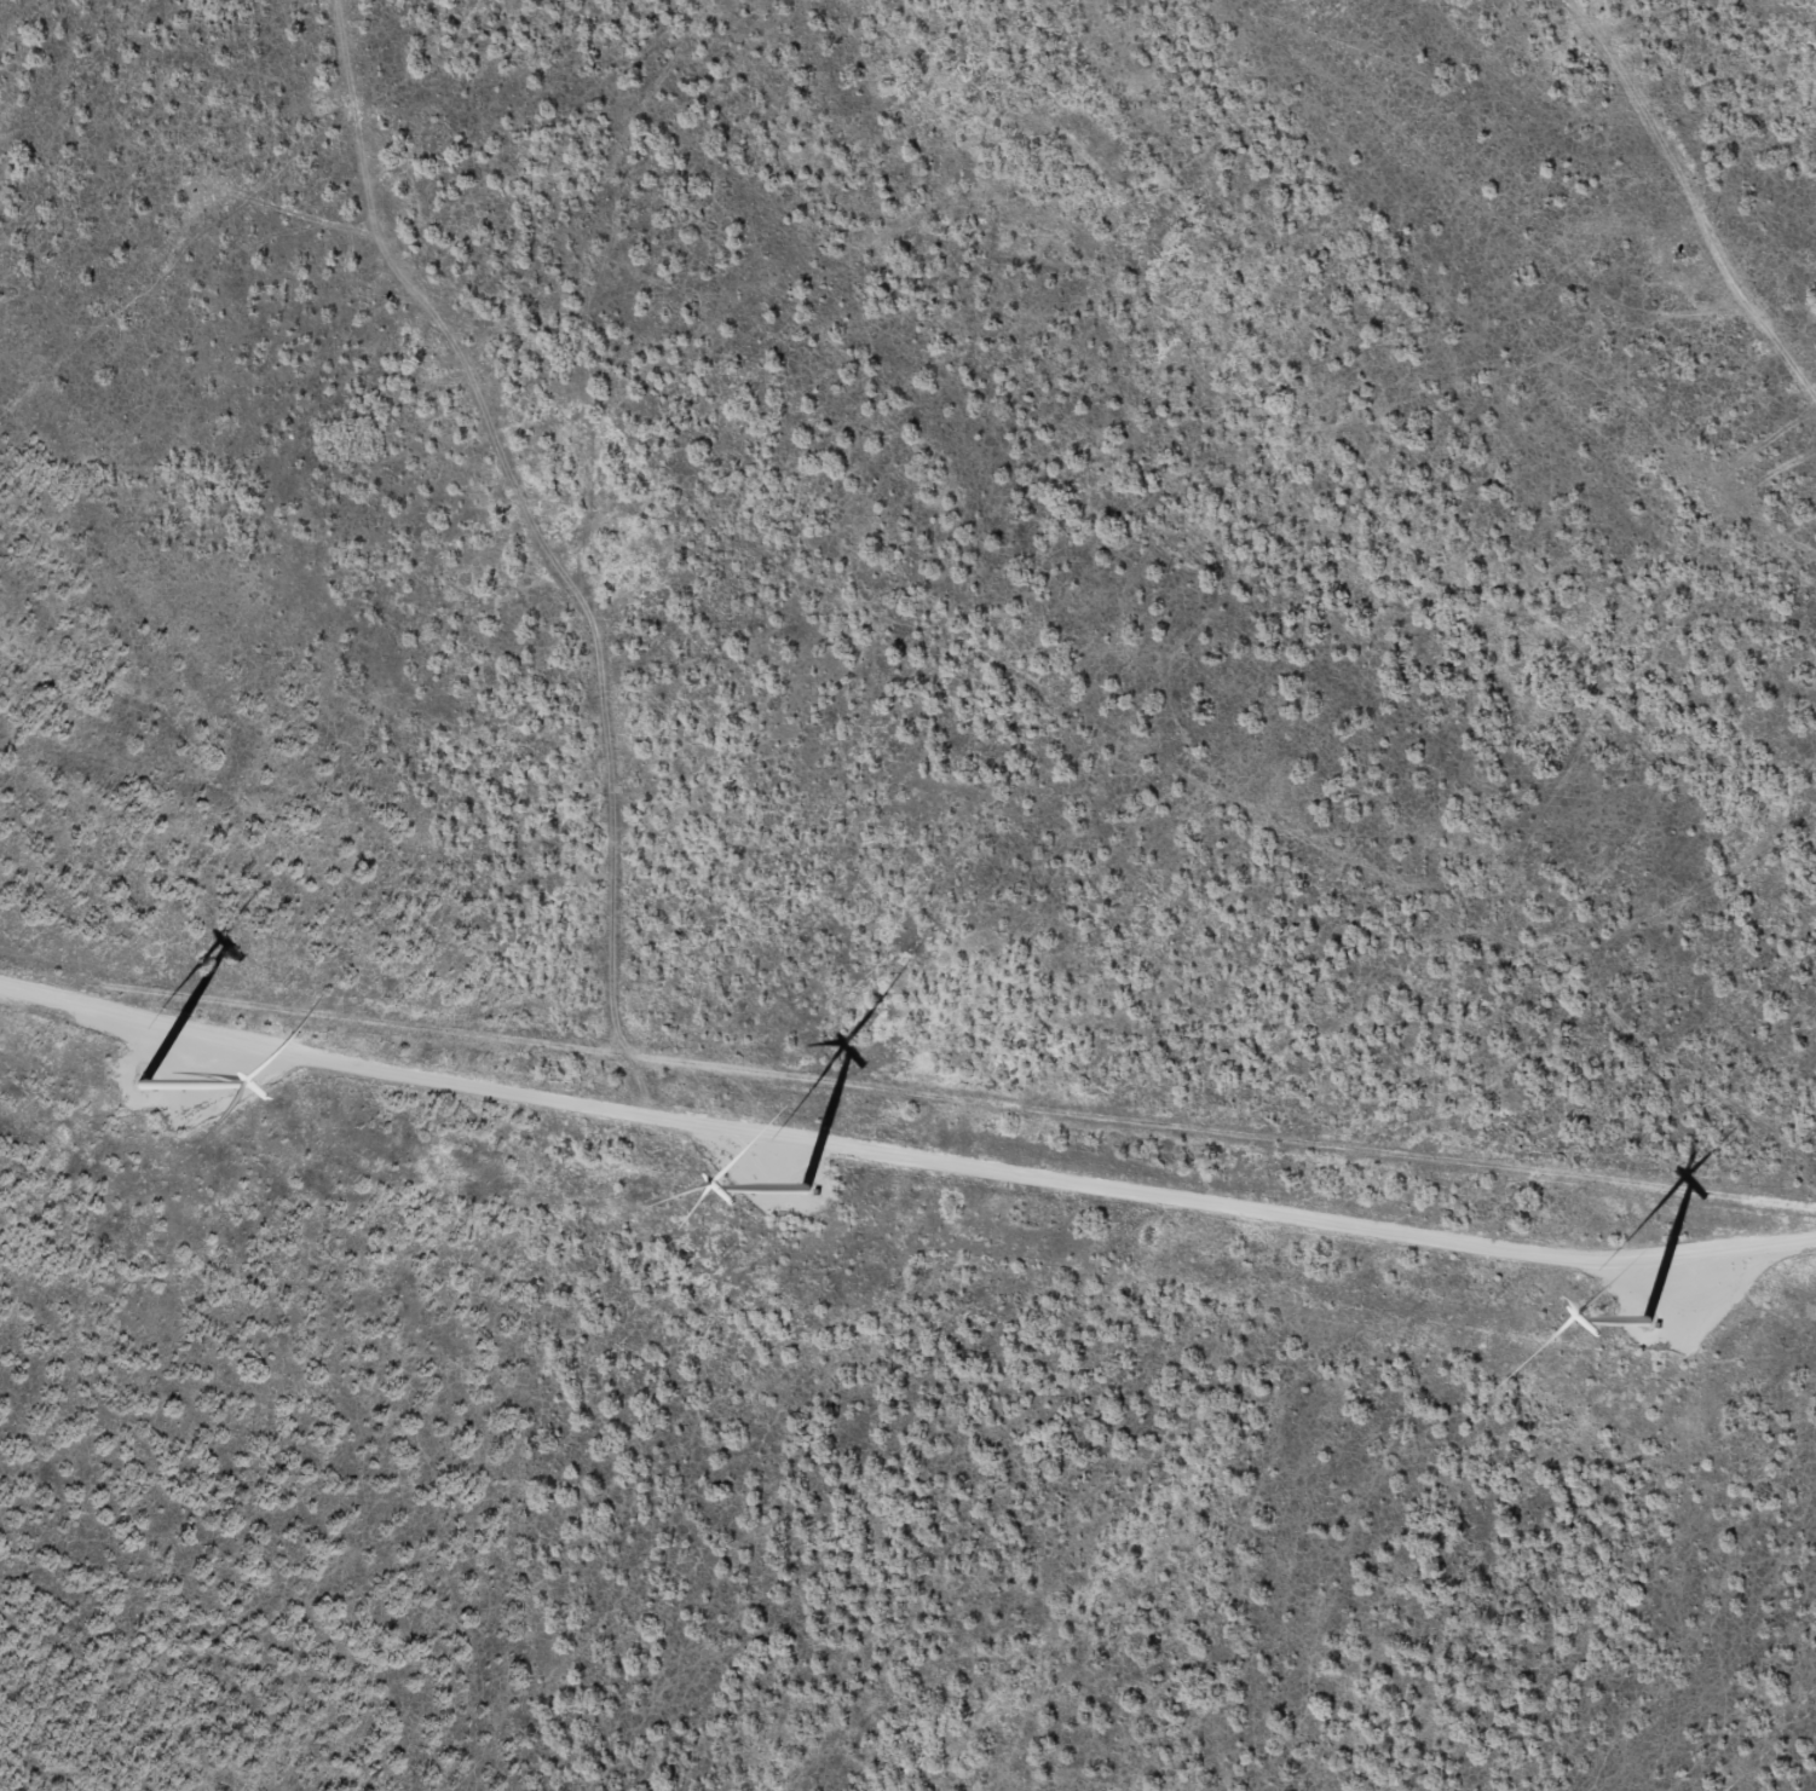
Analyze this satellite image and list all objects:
road: (1695, 183)
wind turbine: (158, 1087)
road: (907, 1093)
wind turbine: (792, 1196)
wind turbine: (1641, 1335)

